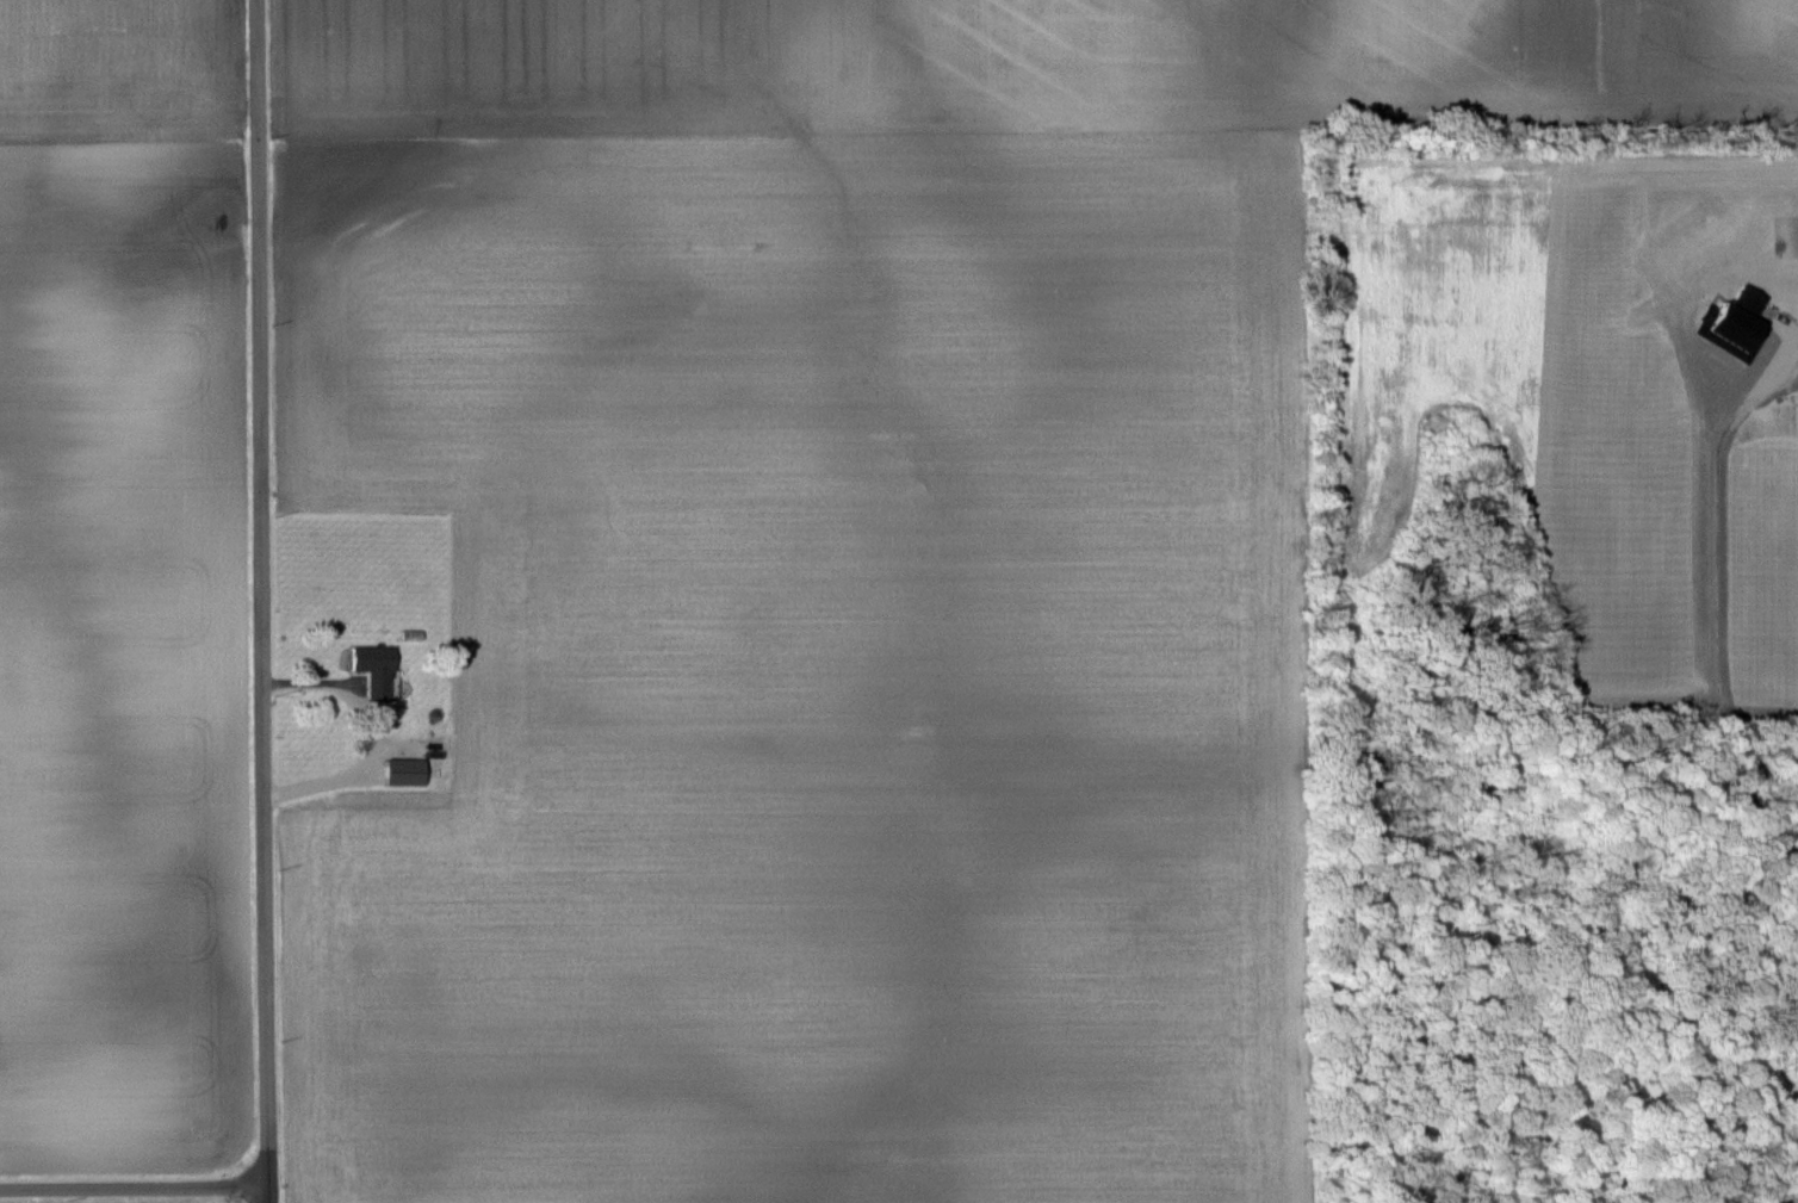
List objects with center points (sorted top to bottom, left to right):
road: (261, 601)
building: (376, 669)
road: (374, 737)
building: (405, 770)
road: (134, 1188)

